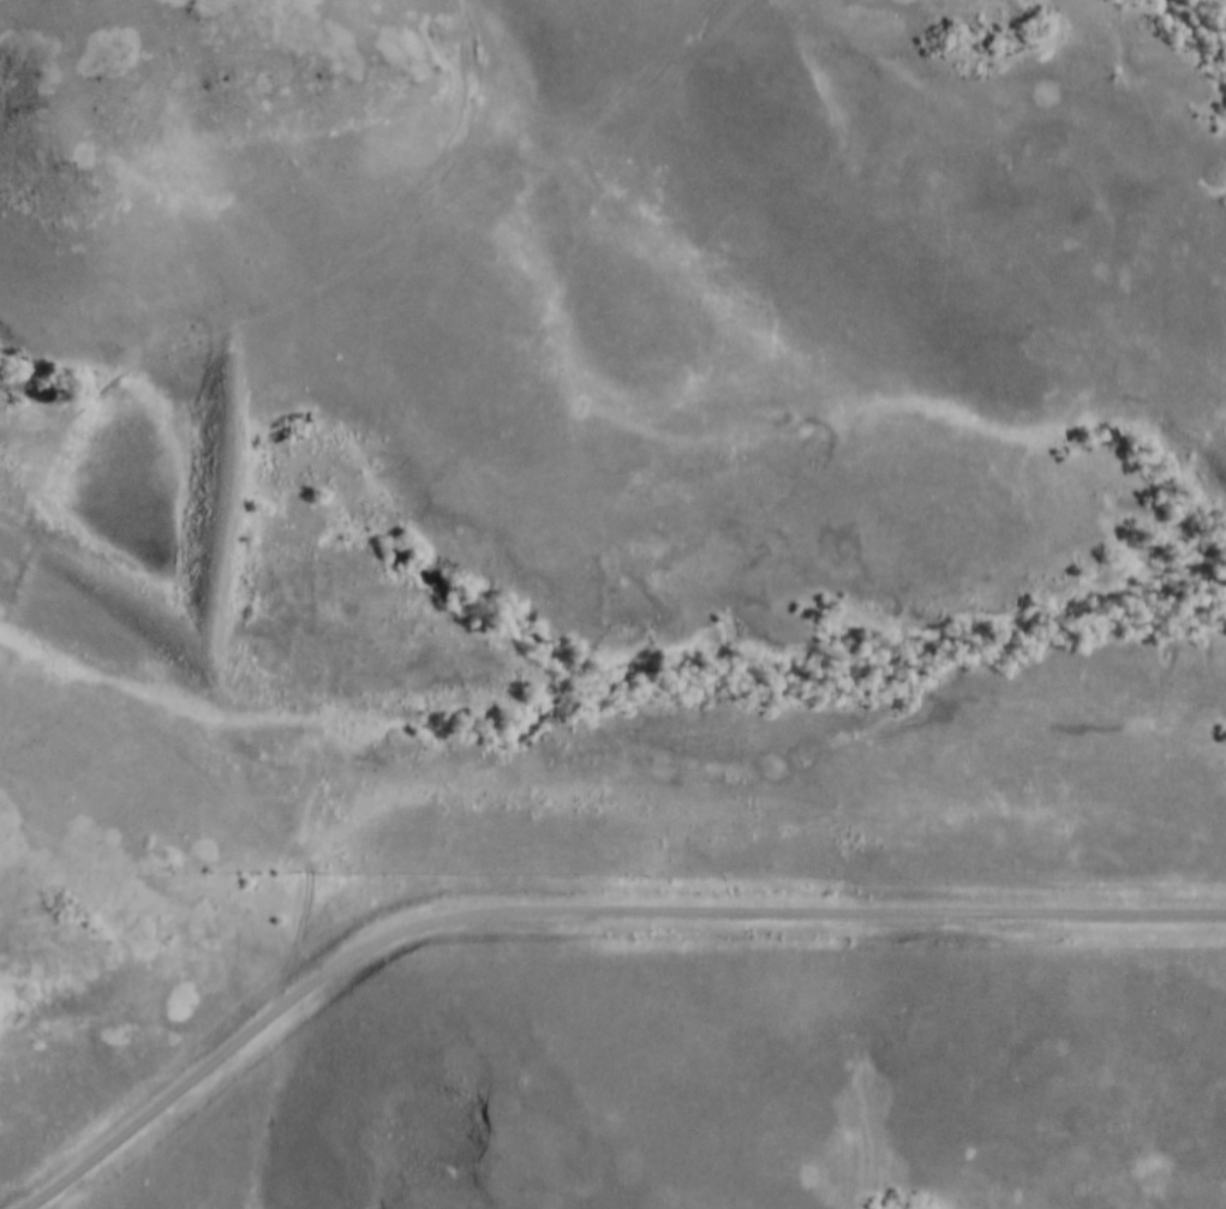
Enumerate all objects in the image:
road: (574, 923)

